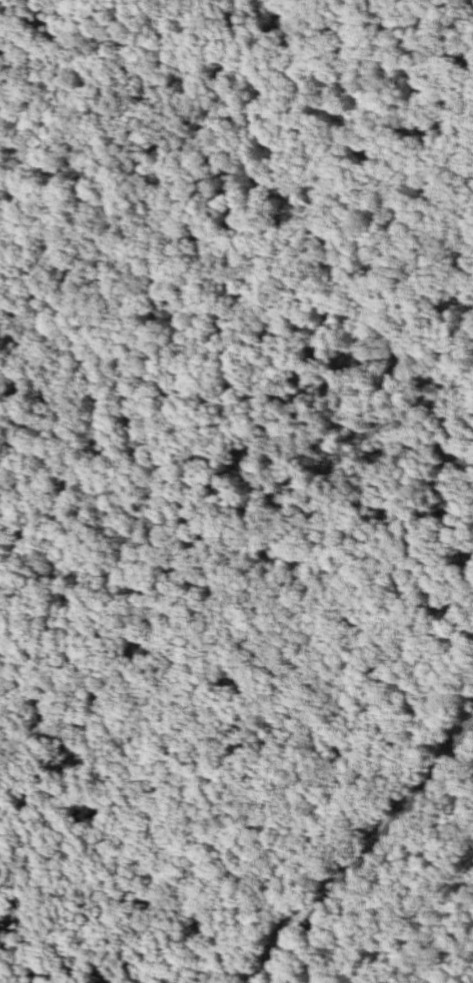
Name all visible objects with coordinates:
road: (365, 860)

